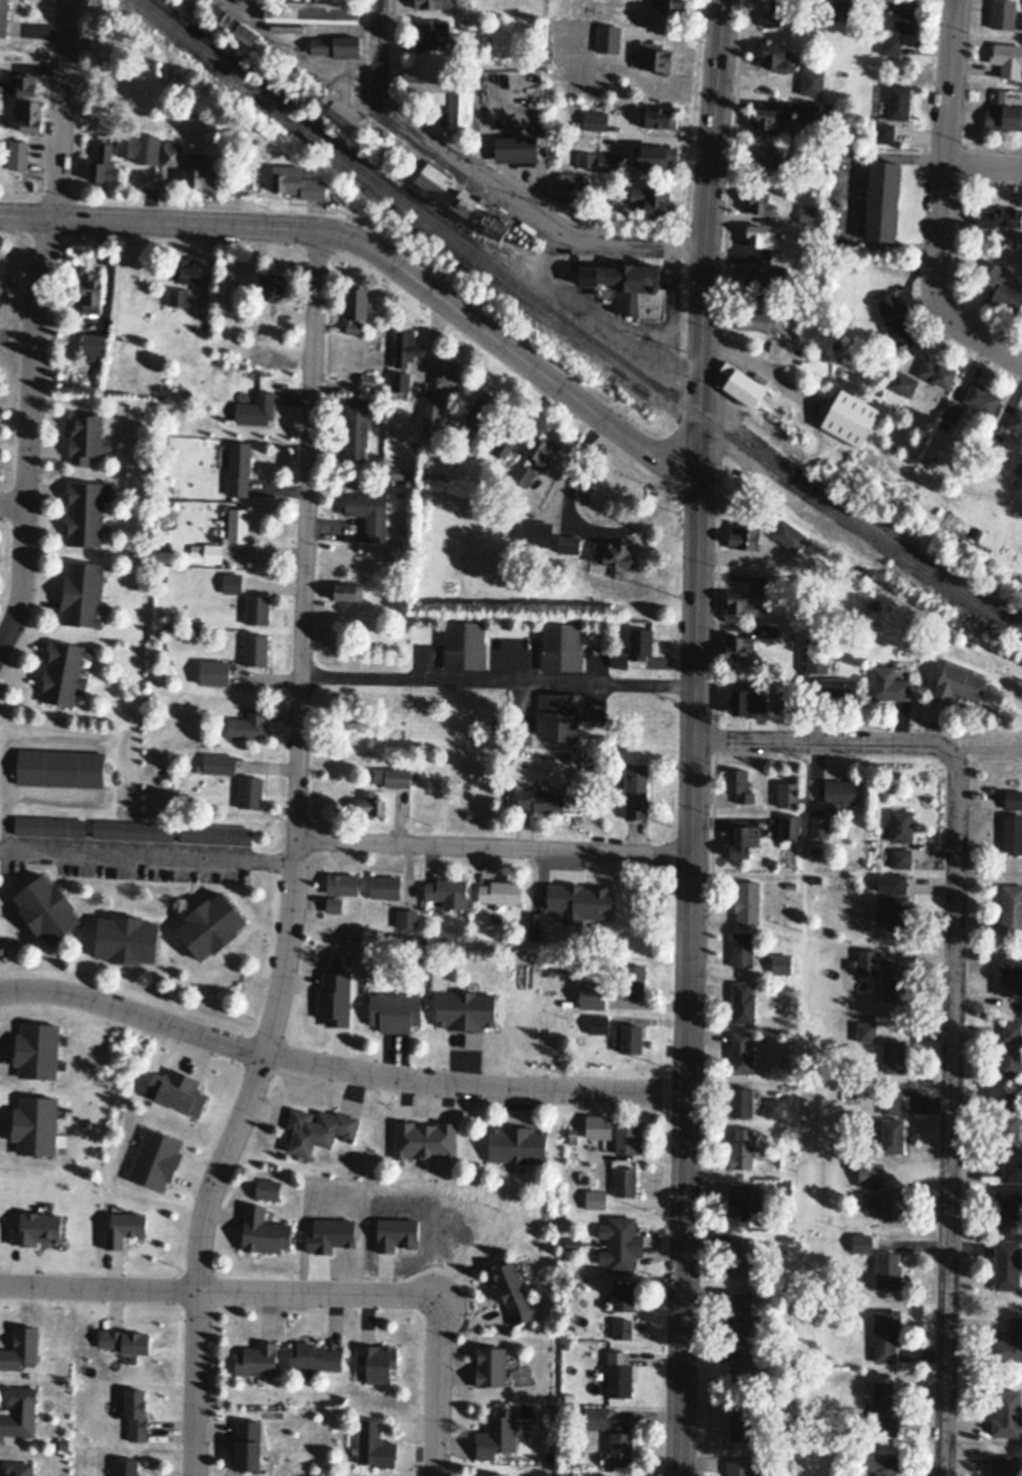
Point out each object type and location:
building: (252, 0)
building: (197, 2)
building: (436, 2)
building: (670, 4)
building: (313, 7)
building: (843, 9)
building: (779, 13)
building: (1003, 13)
building: (905, 15)
building: (3, 16)
building: (234, 22)
building: (470, 23)
building: (433, 31)
building: (609, 36)
building: (338, 44)
building: (892, 44)
road: (385, 52)
building: (655, 55)
building: (778, 56)
building: (1008, 58)
building: (157, 67)
building: (813, 80)
building: (21, 83)
building: (427, 83)
building: (999, 94)
building: (899, 100)
building: (460, 102)
building: (341, 109)
building: (818, 109)
building: (29, 112)
building: (658, 114)
building: (1005, 116)
building: (771, 117)
building: (595, 118)
building: (884, 131)
building: (128, 143)
building: (517, 146)
building: (819, 149)
building: (172, 150)
building: (554, 150)
building: (18, 153)
building: (656, 154)
building: (769, 155)
building: (587, 157)
building: (610, 160)
building: (104, 163)
road: (983, 165)
building: (205, 171)
building: (288, 176)
building: (583, 179)
building: (820, 179)
building: (564, 185)
building: (317, 189)
building: (652, 197)
building: (466, 198)
road: (842, 198)
building: (883, 199)
building: (761, 201)
road: (941, 203)
road: (529, 210)
building: (807, 212)
building: (1000, 216)
building: (761, 235)
building: (778, 254)
road: (383, 258)
building: (188, 268)
building: (990, 270)
building: (761, 280)
building: (273, 283)
building: (629, 285)
building: (92, 291)
building: (179, 295)
building: (1008, 296)
building: (888, 302)
building: (356, 306)
road: (671, 309)
building: (760, 319)
road: (594, 320)
railway: (571, 326)
road: (33, 327)
building: (899, 331)
building: (838, 342)
building: (94, 343)
building: (407, 347)
building: (810, 351)
road: (750, 357)
building: (448, 370)
building: (937, 371)
building: (368, 378)
building: (400, 380)
building: (904, 382)
building: (743, 383)
building: (982, 397)
building: (483, 405)
building: (433, 407)
building: (256, 408)
building: (953, 410)
building: (851, 416)
building: (1016, 419)
building: (945, 426)
building: (357, 427)
building: (428, 429)
building: (997, 431)
building: (513, 432)
building: (87, 436)
building: (504, 445)
building: (535, 459)
building: (239, 467)
building: (396, 472)
road: (13, 505)
building: (86, 511)
building: (370, 513)
building: (238, 524)
building: (976, 531)
building: (537, 532)
building: (788, 534)
building: (744, 535)
building: (569, 543)
building: (165, 552)
building: (207, 552)
building: (613, 552)
building: (233, 581)
building: (347, 590)
building: (84, 593)
building: (745, 602)
building: (258, 609)
building: (770, 630)
building: (465, 644)
building: (738, 644)
building: (562, 646)
building: (635, 646)
building: (256, 649)
building: (816, 659)
building: (64, 671)
building: (214, 672)
road: (499, 678)
building: (959, 681)
building: (890, 684)
building: (838, 687)
building: (748, 701)
building: (785, 701)
building: (560, 715)
building: (248, 724)
building: (501, 725)
road: (33, 736)
road: (695, 736)
road: (822, 739)
building: (220, 762)
building: (61, 767)
building: (393, 776)
building: (739, 784)
road: (44, 787)
building: (636, 790)
building: (250, 791)
building: (841, 792)
building: (788, 794)
building: (1014, 798)
building: (541, 800)
building: (370, 805)
building: (591, 812)
building: (820, 821)
building: (51, 825)
building: (902, 825)
building: (789, 827)
building: (133, 829)
building: (217, 833)
building: (1013, 833)
building: (741, 841)
road: (492, 847)
road: (140, 849)
building: (817, 849)
building: (902, 858)
road: (289, 859)
building: (774, 862)
building: (817, 879)
building: (343, 883)
building: (893, 883)
building: (791, 885)
building: (385, 886)
building: (604, 886)
building: (447, 891)
building: (500, 891)
building: (748, 902)
building: (334, 904)
building: (47, 908)
building: (1012, 909)
building: (893, 911)
building: (407, 917)
building: (211, 925)
building: (534, 926)
building: (596, 934)
building: (127, 939)
building: (742, 948)
building: (782, 963)
building: (868, 963)
building: (565, 967)
building: (1011, 980)
building: (633, 981)
building: (895, 983)
building: (865, 984)
building: (592, 995)
building: (742, 1002)
building: (466, 1010)
building: (395, 1011)
building: (599, 1024)
building: (867, 1031)
building: (1012, 1031)
building: (632, 1038)
building: (581, 1039)
building: (742, 1052)
building: (894, 1056)
building: (1009, 1060)
road: (340, 1067)
building: (786, 1086)
building: (853, 1094)
building: (741, 1101)
building: (1013, 1101)
building: (894, 1104)
building: (774, 1107)
road: (954, 1109)
building: (599, 1126)
building: (318, 1129)
building: (1008, 1131)
building: (627, 1134)
building: (573, 1135)
building: (893, 1135)
building: (425, 1139)
building: (517, 1144)
building: (742, 1149)
building: (854, 1164)
building: (1012, 1171)
building: (871, 1174)
building: (583, 1175)
building: (625, 1181)
building: (788, 1185)
building: (268, 1188)
building: (596, 1198)
building: (1008, 1202)
building: (892, 1203)
building: (741, 1204)
building: (123, 1226)
building: (264, 1231)
building: (789, 1238)
building: (862, 1242)
building: (572, 1243)
building: (621, 1244)
building: (741, 1257)
building: (1007, 1265)
building: (888, 1270)
road: (225, 1291)
building: (513, 1293)
building: (623, 1296)
building: (739, 1315)
building: (622, 1328)
building: (886, 1334)
building: (1010, 1342)
building: (314, 1357)
building: (257, 1360)
building: (792, 1360)
building: (377, 1362)
building: (741, 1366)
building: (491, 1367)
building: (619, 1374)
road: (439, 1396)
building: (884, 1408)
building: (20, 1412)
building: (1007, 1413)
building: (595, 1418)
building: (741, 1421)
building: (498, 1434)
building: (65, 1443)
building: (375, 1445)
building: (247, 1446)
building: (621, 1449)
building: (882, 1463)
building: (1005, 1466)
building: (127, 1467)
building: (739, 1468)
building: (20, 1469)
building: (492, 1474)
building: (563, 1474)
building: (600, 1475)

